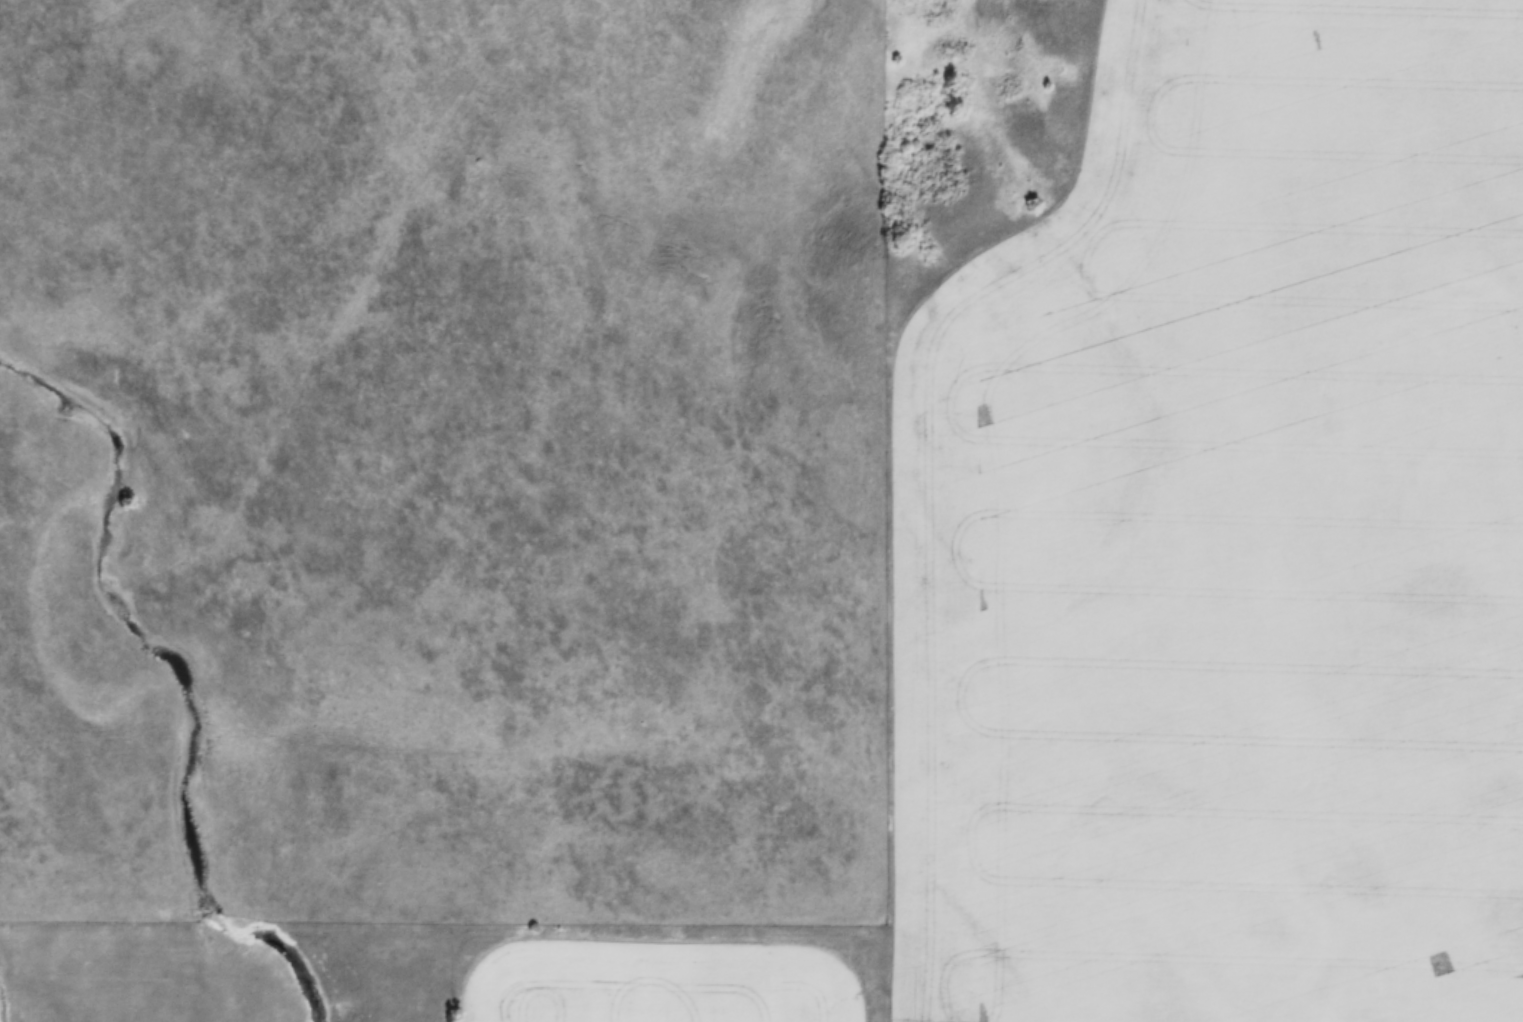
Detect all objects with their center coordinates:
crop: (662, 979)

